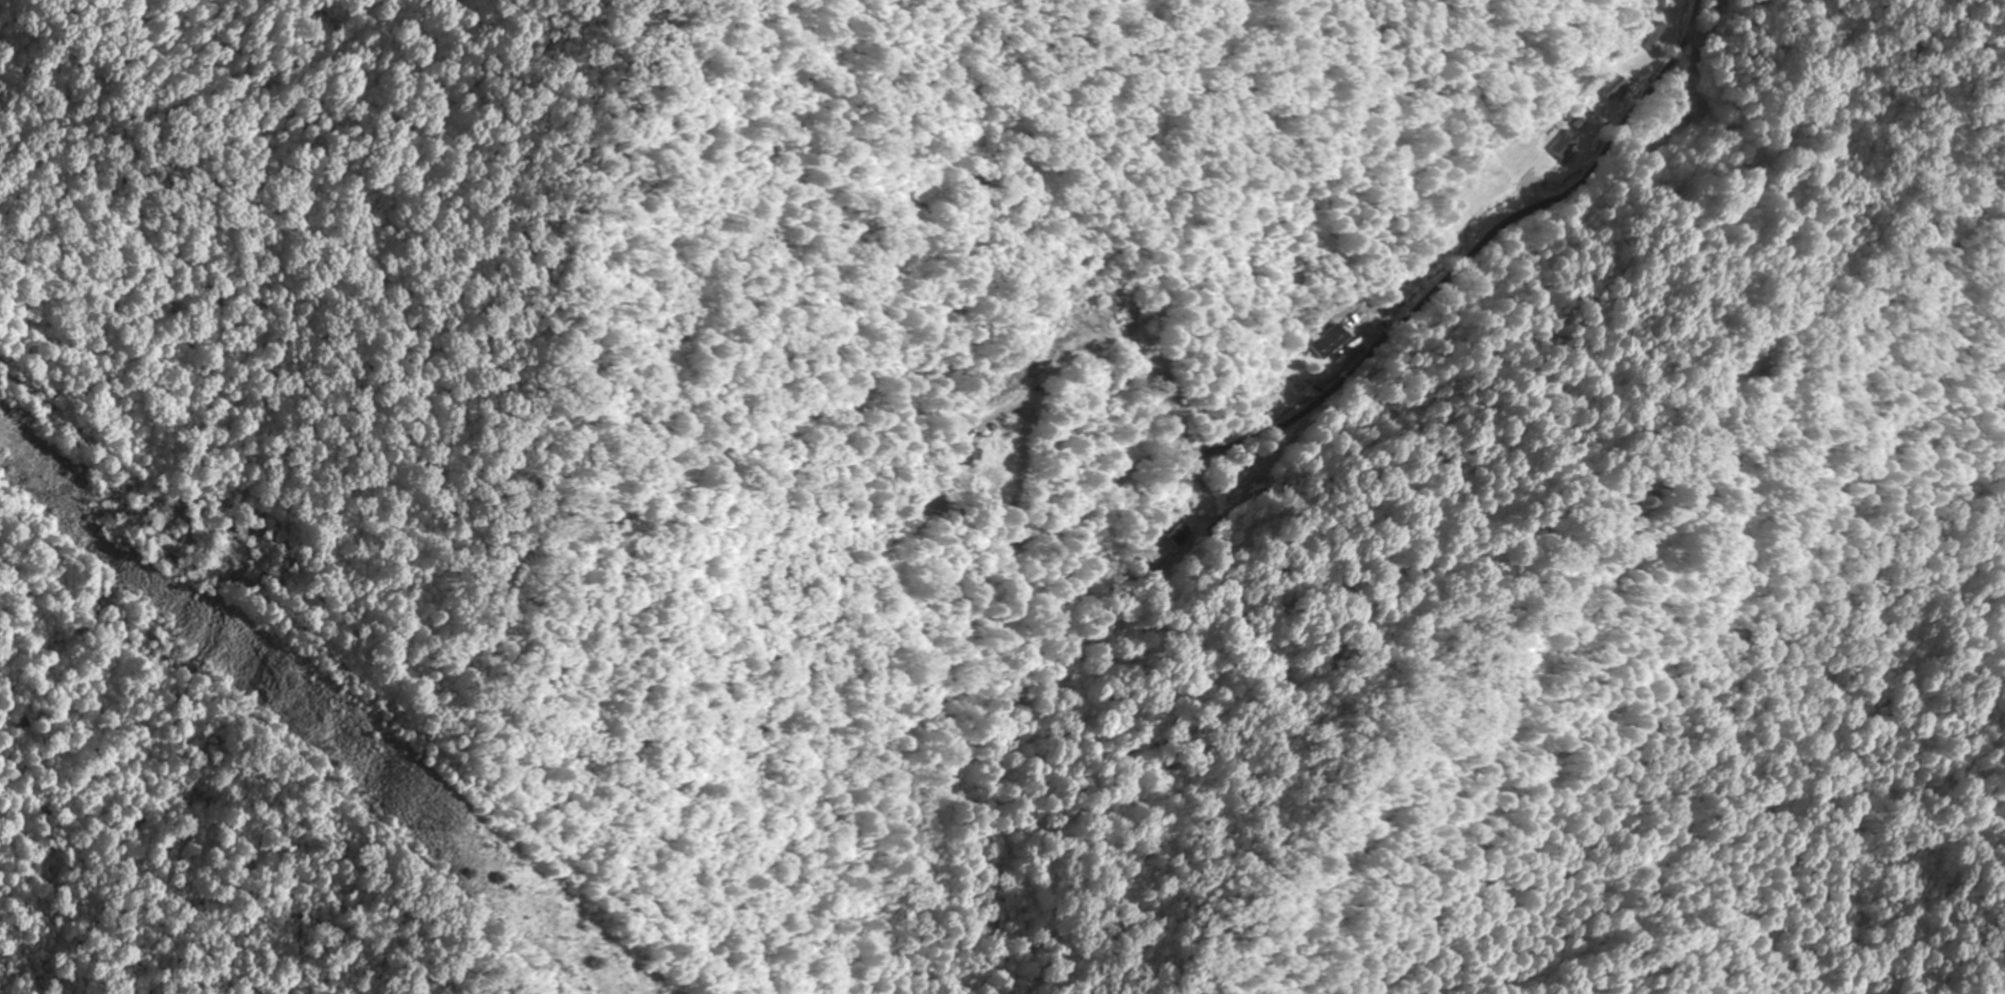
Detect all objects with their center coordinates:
building: (1663, 3)
building: (1657, 35)
building: (1614, 86)
building: (1561, 145)
road: (1491, 236)
building: (1331, 342)
building: (962, 454)
road: (1586, 606)

